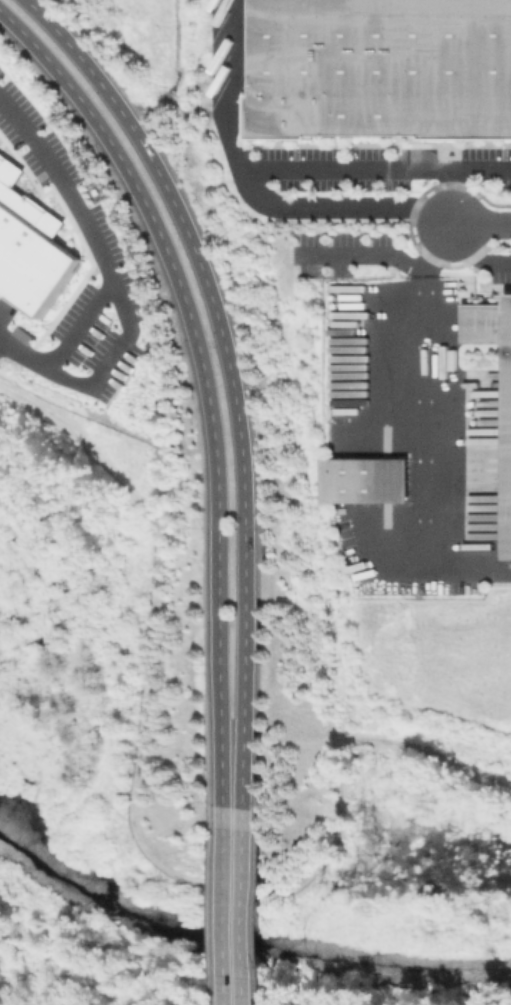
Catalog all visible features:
building: (380, 67)
road: (233, 84)
road: (259, 168)
road: (449, 196)
road: (480, 223)
building: (28, 243)
road: (434, 250)
road: (474, 253)
road: (110, 282)
road: (78, 324)
road: (231, 377)
road: (205, 382)
road: (86, 440)
building: (505, 452)
road: (420, 468)
building: (362, 480)
road: (136, 718)
road: (338, 783)
road: (231, 908)

